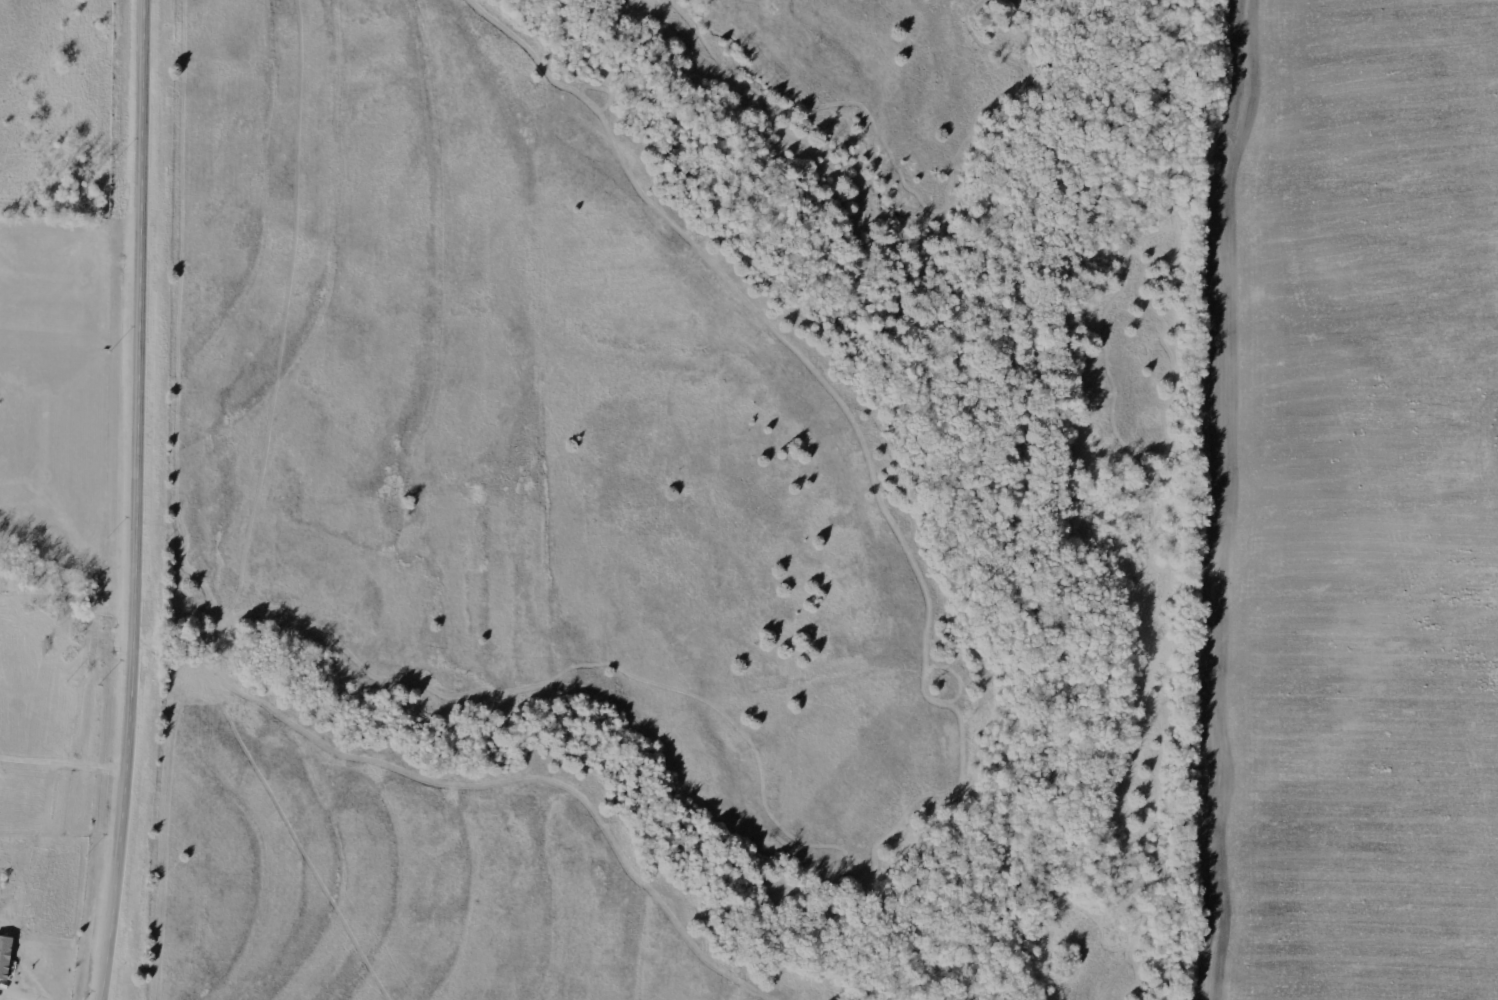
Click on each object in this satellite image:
road: (142, 500)
road: (65, 759)
road: (25, 995)

